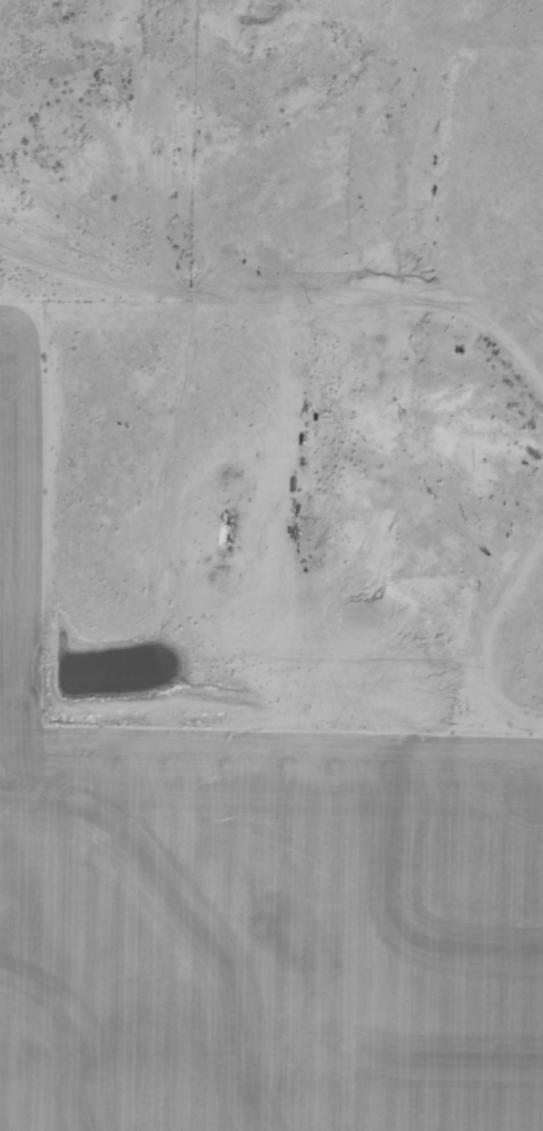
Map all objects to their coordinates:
road: (280, 282)
road: (488, 624)

